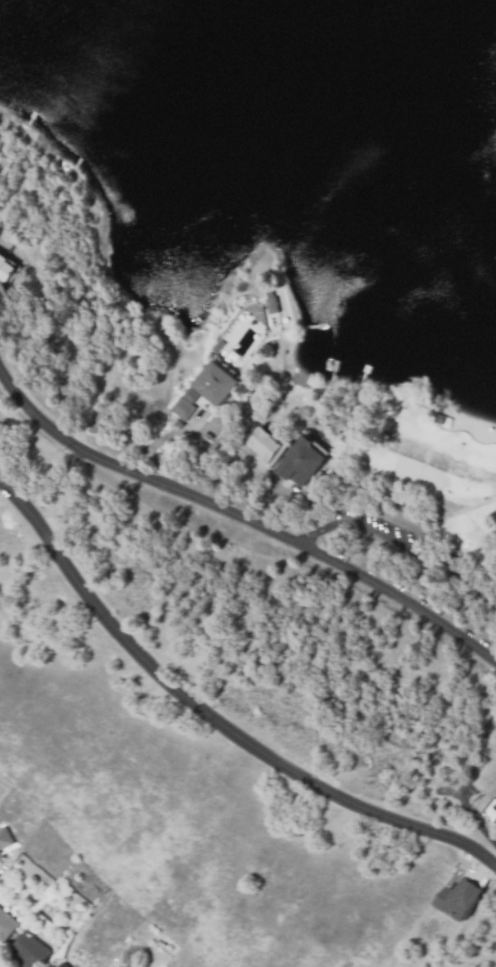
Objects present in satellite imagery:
building: (5, 269)
building: (1, 289)
building: (0, 295)
building: (205, 389)
building: (270, 444)
building: (300, 461)
road: (244, 519)
road: (212, 718)
building: (485, 771)
building: (5, 838)
building: (0, 857)
building: (460, 899)
building: (6, 925)
building: (25, 952)
building: (61, 965)
building: (50, 966)

